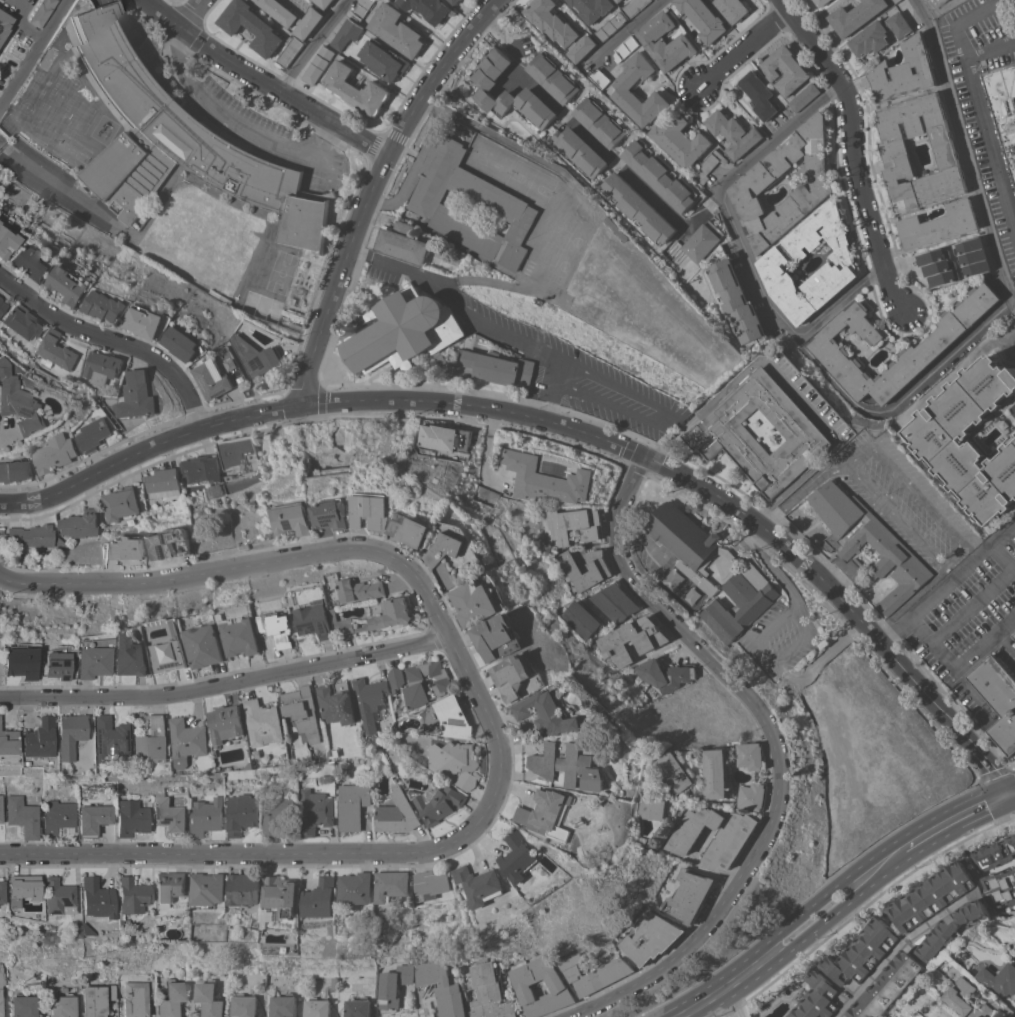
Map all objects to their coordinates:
building: (619, 0)
building: (925, 0)
building: (454, 1)
building: (896, 1)
building: (941, 1)
building: (821, 2)
building: (324, 3)
building: (634, 7)
building: (362, 8)
building: (428, 8)
building: (592, 8)
building: (733, 8)
building: (42, 12)
road: (189, 14)
building: (855, 15)
building: (293, 16)
building: (702, 18)
building: (4, 25)
building: (252, 26)
building: (610, 26)
building: (559, 28)
road: (631, 28)
building: (397, 30)
building: (347, 33)
building: (879, 34)
building: (665, 41)
road: (315, 45)
road: (989, 47)
building: (626, 48)
road: (745, 48)
building: (290, 51)
road: (34, 55)
building: (384, 60)
building: (319, 64)
building: (785, 69)
building: (905, 71)
building: (553, 77)
building: (600, 78)
road: (264, 81)
building: (621, 88)
building: (357, 89)
building: (508, 91)
road: (425, 92)
building: (759, 94)
building: (804, 96)
building: (1007, 98)
road: (976, 102)
building: (600, 122)
road: (237, 126)
road: (493, 133)
building: (732, 133)
building: (680, 138)
building: (179, 139)
road: (595, 143)
road: (966, 146)
road: (852, 149)
building: (580, 151)
building: (896, 154)
road: (415, 166)
building: (708, 166)
building: (660, 175)
road: (57, 183)
building: (753, 184)
road: (725, 195)
building: (502, 203)
building: (638, 207)
road: (358, 223)
building: (939, 224)
building: (616, 227)
building: (7, 239)
building: (702, 240)
building: (402, 242)
road: (358, 253)
building: (974, 256)
building: (775, 261)
building: (30, 264)
building: (937, 266)
building: (69, 284)
road: (1012, 296)
building: (737, 299)
building: (292, 300)
building: (107, 302)
road: (841, 302)
building: (2, 306)
road: (482, 318)
building: (146, 321)
building: (23, 322)
building: (295, 326)
road: (323, 327)
building: (404, 330)
road: (115, 339)
building: (182, 342)
building: (935, 343)
building: (517, 350)
building: (57, 351)
building: (256, 356)
building: (445, 362)
building: (104, 366)
building: (495, 367)
building: (212, 380)
building: (137, 395)
road: (907, 395)
building: (21, 404)
road: (547, 410)
road: (662, 416)
road: (559, 423)
building: (719, 432)
building: (94, 433)
building: (973, 436)
building: (444, 437)
building: (428, 451)
building: (55, 453)
building: (240, 455)
building: (201, 468)
building: (16, 470)
building: (545, 479)
building: (162, 482)
building: (485, 495)
road: (917, 496)
building: (120, 503)
building: (374, 510)
building: (333, 513)
road: (894, 514)
building: (293, 518)
building: (80, 524)
building: (571, 525)
building: (413, 529)
building: (32, 535)
building: (171, 542)
building: (61, 543)
building: (125, 547)
building: (891, 547)
building: (448, 548)
road: (1002, 557)
building: (599, 570)
building: (746, 571)
road: (947, 580)
building: (361, 589)
building: (477, 602)
building: (614, 602)
road: (974, 606)
building: (379, 616)
building: (314, 619)
building: (581, 619)
building: (278, 627)
building: (151, 634)
building: (240, 635)
building: (1014, 635)
building: (497, 637)
building: (632, 640)
road: (756, 641)
building: (205, 646)
building: (170, 655)
building: (130, 656)
building: (20, 662)
building: (92, 662)
road: (960, 664)
building: (56, 665)
building: (665, 674)
building: (518, 676)
building: (396, 678)
road: (227, 684)
building: (443, 684)
building: (998, 698)
building: (369, 701)
building: (335, 705)
building: (302, 710)
building: (548, 712)
building: (451, 717)
road: (492, 721)
building: (225, 722)
building: (263, 722)
building: (70, 734)
building: (39, 738)
building: (110, 738)
building: (188, 740)
building: (153, 741)
building: (8, 743)
road: (781, 750)
building: (333, 752)
building: (751, 755)
building: (455, 760)
building: (570, 765)
building: (69, 769)
building: (677, 771)
building: (717, 772)
road: (995, 772)
road: (1007, 780)
traffic signals: (1000, 783)
road: (1004, 793)
building: (753, 795)
road: (1011, 801)
building: (439, 803)
traffic signals: (1008, 803)
building: (1, 804)
building: (352, 805)
building: (658, 808)
building: (315, 810)
building: (276, 812)
building: (396, 812)
building: (242, 813)
building: (551, 813)
building: (169, 814)
building: (23, 816)
building: (132, 816)
building: (207, 816)
building: (57, 817)
building: (94, 819)
road: (955, 828)
building: (733, 838)
building: (647, 839)
building: (995, 853)
building: (518, 855)
building: (432, 883)
building: (392, 884)
building: (481, 884)
building: (169, 887)
building: (356, 887)
building: (22, 888)
building: (245, 888)
building: (1001, 888)
building: (208, 889)
building: (2, 891)
building: (282, 893)
road: (822, 893)
building: (691, 895)
building: (934, 895)
building: (58, 896)
building: (131, 896)
building: (321, 898)
building: (96, 899)
road: (862, 906)
building: (85, 930)
building: (954, 930)
building: (72, 931)
building: (653, 938)
road: (800, 939)
building: (1009, 947)
building: (864, 952)
road: (896, 952)
building: (594, 973)
building: (1000, 978)
building: (261, 981)
building: (334, 983)
building: (1, 985)
building: (394, 985)
building: (557, 985)
building: (442, 986)
building: (890, 986)
building: (490, 992)
building: (959, 996)
building: (171, 998)
building: (209, 998)
road: (725, 998)
building: (819, 998)
building: (135, 999)
building: (96, 1000)
building: (244, 1005)
building: (284, 1005)
building: (23, 1006)
building: (62, 1006)
building: (317, 1007)
building: (358, 1007)
building: (410, 1016)

